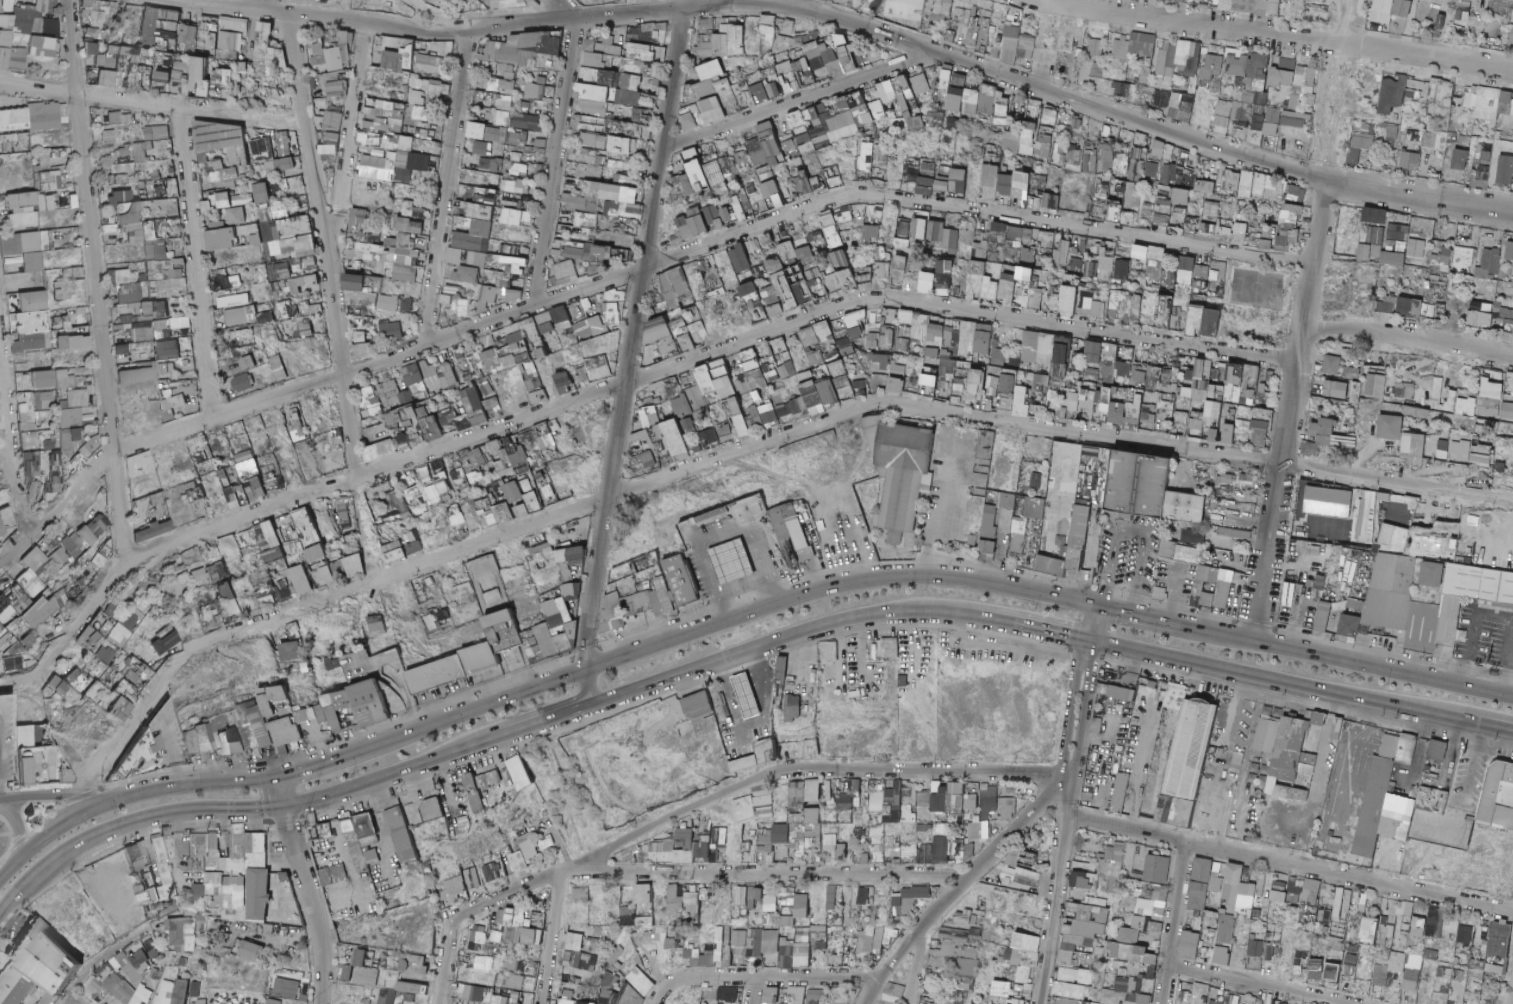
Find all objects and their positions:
gas station: (738, 561)
gas station: (762, 692)
park: (891, 985)

